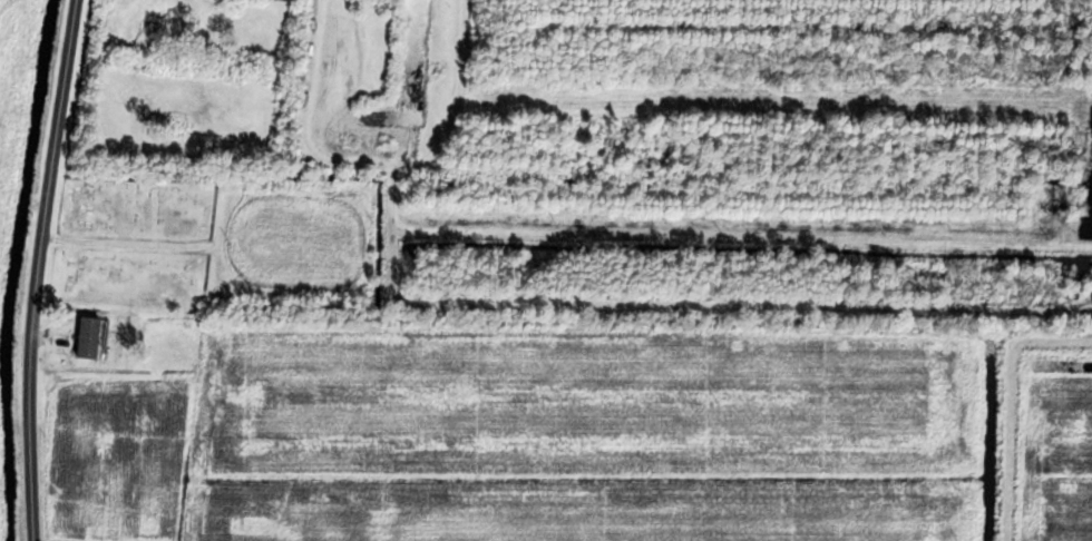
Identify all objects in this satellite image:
road: (35, 268)
building: (87, 336)

